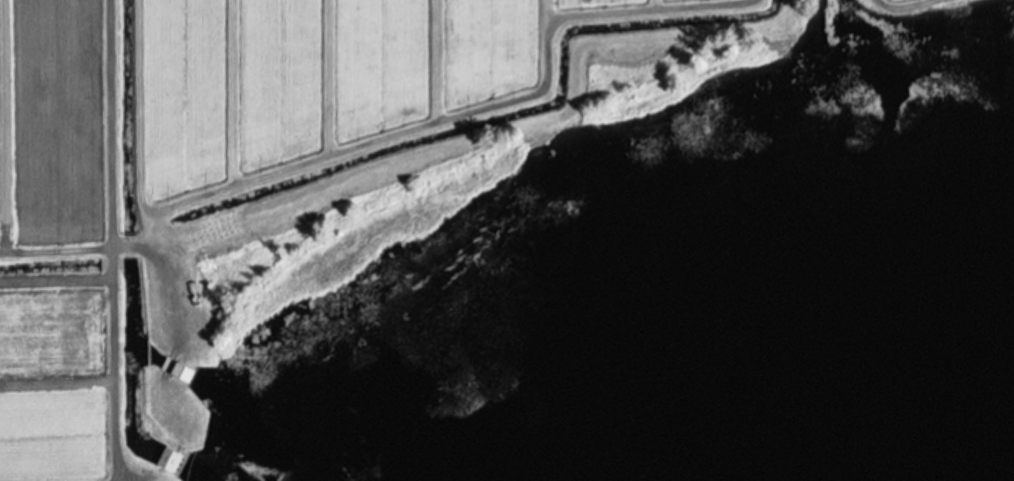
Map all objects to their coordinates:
crop: (319, 168)
building: (181, 372)
building: (168, 459)

